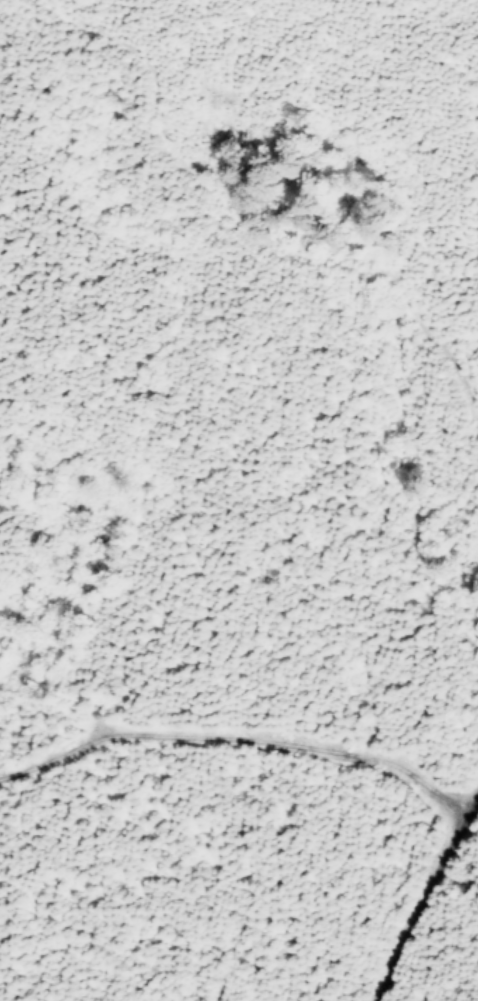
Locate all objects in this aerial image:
road: (253, 207)
road: (446, 934)

